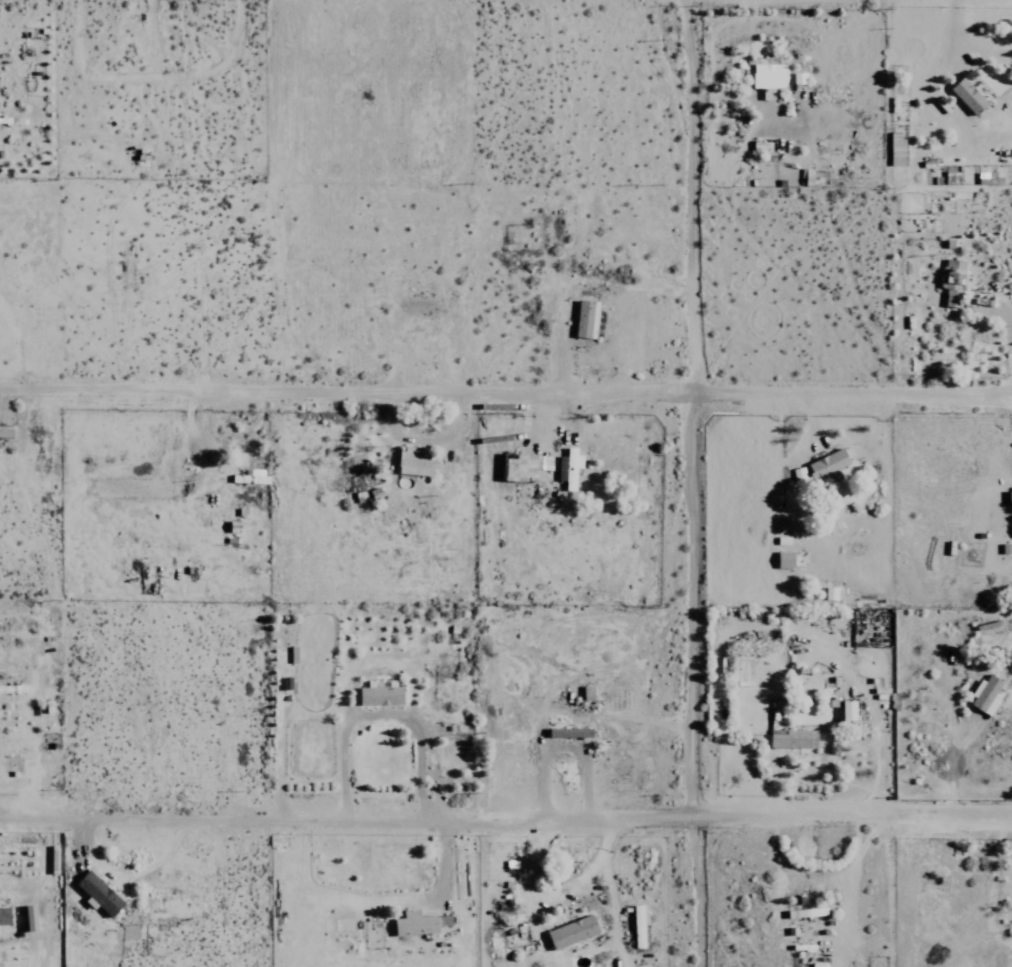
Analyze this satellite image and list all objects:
road: (505, 393)
road: (685, 483)
road: (564, 713)
road: (379, 716)
road: (954, 766)
road: (881, 781)
road: (505, 819)

